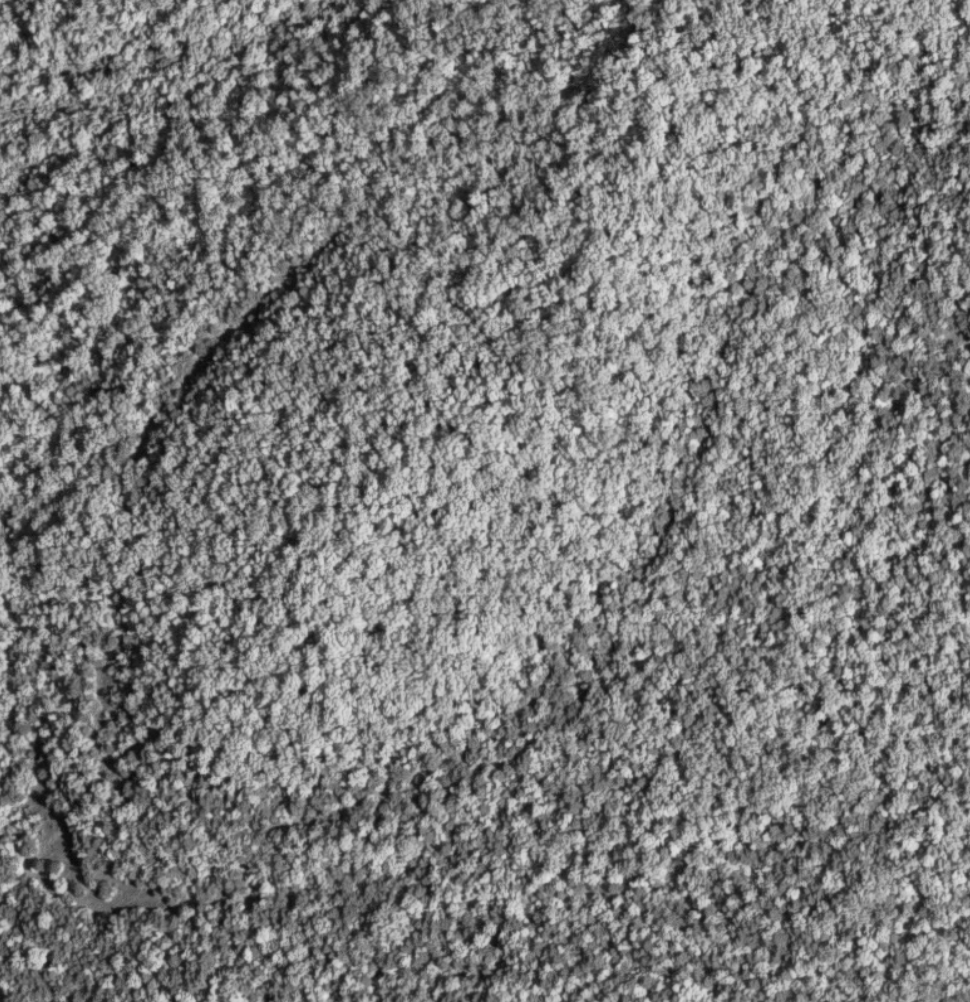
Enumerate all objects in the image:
road: (396, 465)

